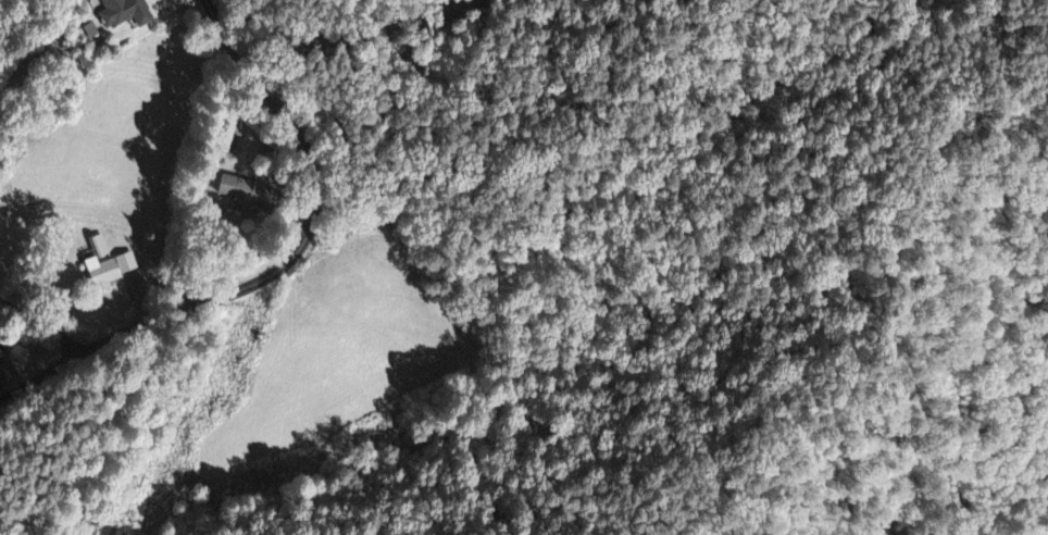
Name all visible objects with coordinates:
building: (127, 14)
building: (244, 191)
building: (110, 265)
road: (279, 266)
building: (138, 288)
road: (45, 319)
building: (2, 357)

